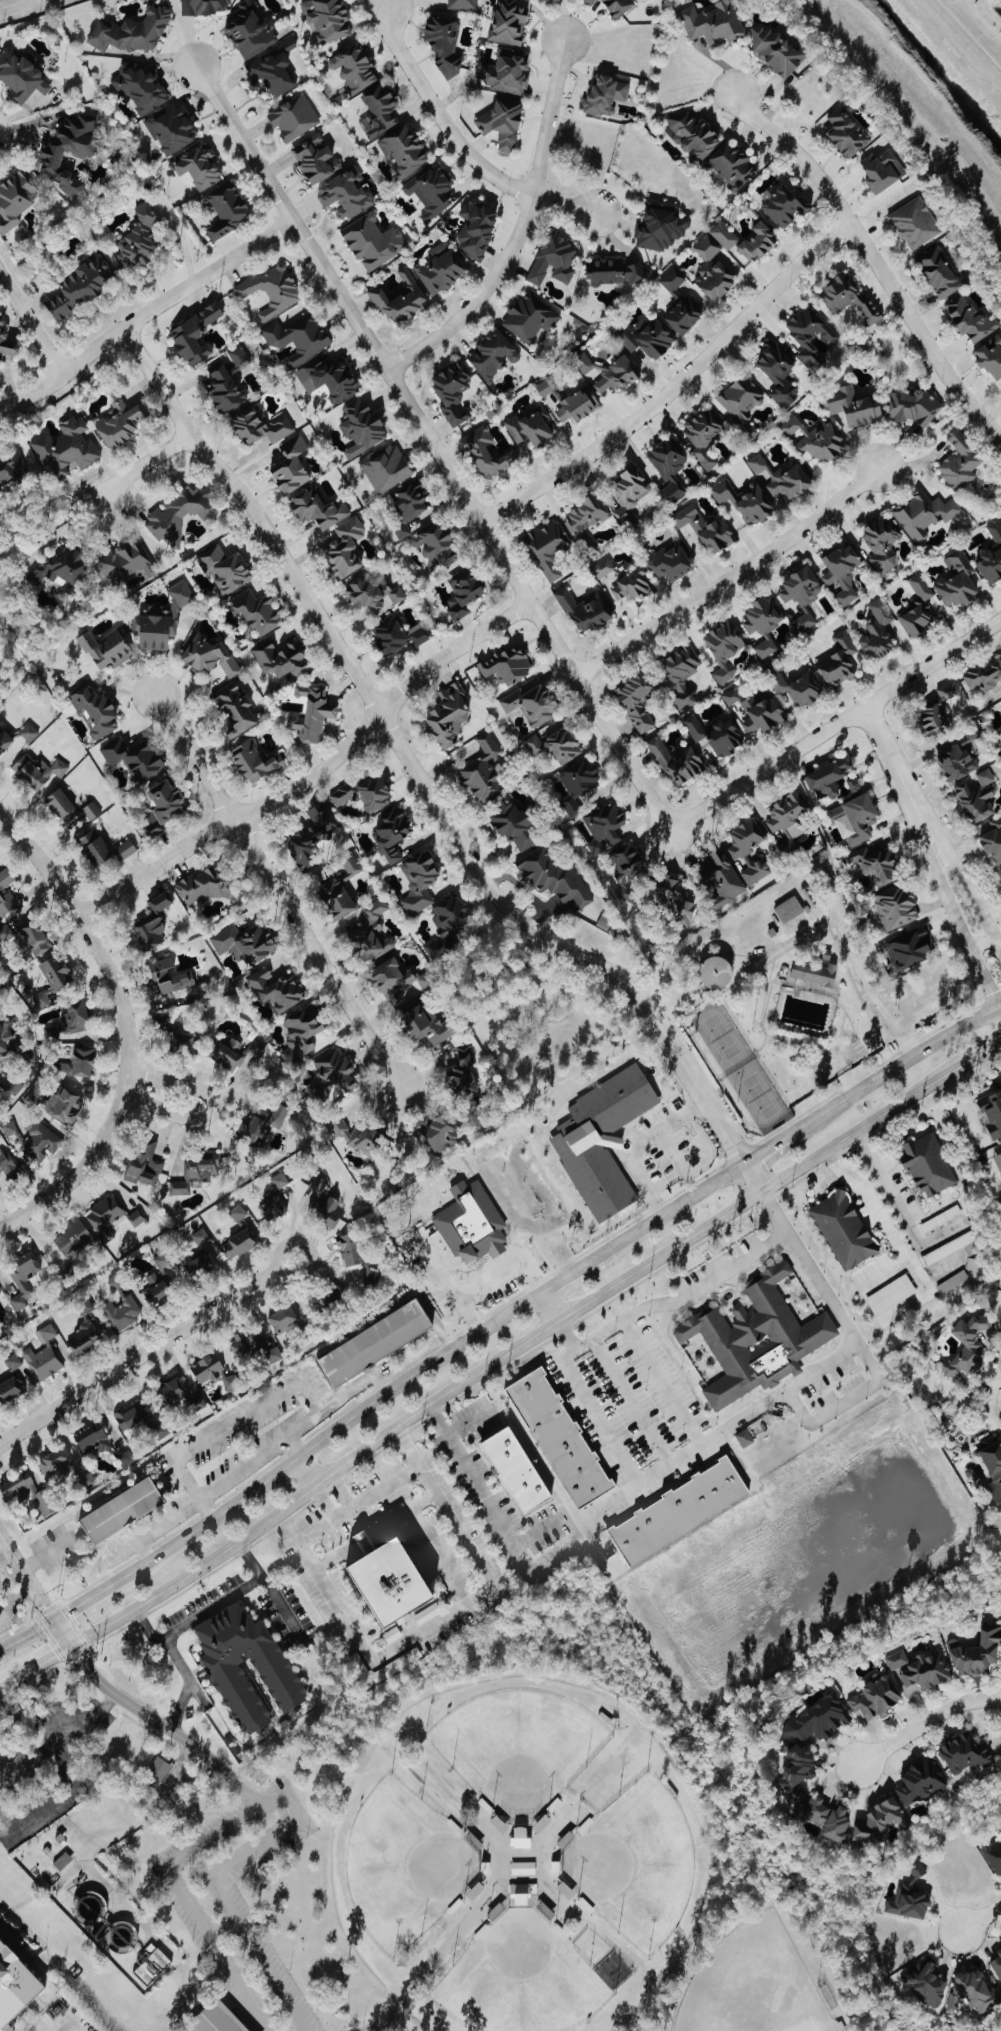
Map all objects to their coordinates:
building: (590, 2)
building: (462, 4)
road: (21, 5)
building: (205, 6)
building: (618, 7)
building: (326, 18)
building: (509, 22)
building: (713, 22)
building: (250, 30)
building: (132, 31)
road: (969, 35)
building: (444, 45)
building: (775, 50)
building: (353, 68)
building: (272, 69)
building: (506, 71)
building: (20, 74)
building: (140, 87)
building: (604, 96)
road: (900, 108)
building: (379, 110)
building: (293, 116)
building: (503, 119)
building: (170, 128)
building: (846, 132)
building: (691, 134)
building: (67, 149)
building: (403, 149)
road: (461, 150)
building: (315, 157)
building: (730, 164)
building: (198, 165)
building: (881, 169)
building: (430, 190)
building: (345, 192)
building: (15, 197)
building: (785, 204)
building: (225, 208)
building: (914, 222)
building: (476, 226)
building: (661, 226)
road: (517, 229)
building: (724, 235)
building: (137, 238)
building: (372, 240)
building: (754, 243)
building: (553, 259)
road: (873, 260)
building: (440, 267)
building: (712, 268)
building: (613, 270)
building: (939, 272)
building: (672, 279)
building: (79, 285)
building: (272, 289)
building: (399, 298)
building: (849, 298)
road: (146, 313)
building: (683, 313)
building: (530, 316)
building: (969, 318)
road: (31, 325)
building: (193, 333)
building: (811, 334)
building: (646, 336)
building: (296, 337)
building: (7, 341)
building: (492, 353)
building: (238, 356)
building: (990, 356)
building: (607, 371)
building: (777, 371)
building: (327, 378)
road: (674, 384)
building: (544, 387)
building: (223, 388)
building: (452, 390)
building: (739, 400)
building: (576, 404)
building: (851, 405)
building: (914, 407)
building: (120, 422)
building: (790, 425)
building: (261, 426)
building: (361, 426)
building: (532, 426)
building: (703, 436)
building: (822, 441)
road: (434, 445)
building: (65, 448)
building: (486, 452)
building: (959, 460)
road: (140, 464)
building: (290, 465)
building: (12, 467)
building: (384, 467)
building: (668, 467)
building: (780, 477)
building: (629, 493)
building: (743, 499)
building: (407, 508)
building: (318, 509)
building: (585, 513)
building: (924, 513)
building: (180, 514)
building: (705, 528)
building: (882, 543)
building: (435, 545)
building: (344, 547)
building: (548, 547)
building: (991, 555)
building: (125, 561)
building: (669, 561)
building: (58, 567)
building: (604, 567)
building: (223, 568)
building: (841, 569)
road: (731, 575)
building: (957, 579)
building: (629, 585)
building: (372, 592)
building: (462, 592)
building: (801, 595)
building: (918, 606)
building: (585, 609)
building: (257, 611)
building: (159, 619)
building: (763, 623)
building: (877, 630)
building: (396, 634)
building: (105, 649)
building: (723, 649)
building: (209, 656)
building: (280, 658)
building: (838, 660)
building: (506, 665)
building: (680, 673)
building: (984, 676)
building: (795, 686)
building: (731, 696)
building: (635, 700)
building: (530, 704)
building: (234, 708)
building: (937, 709)
building: (313, 712)
building: (761, 713)
building: (448, 714)
road: (835, 723)
building: (29, 732)
building: (715, 734)
building: (4, 740)
building: (555, 745)
building: (957, 755)
building: (132, 757)
building: (253, 760)
building: (676, 761)
building: (38, 770)
building: (482, 771)
road: (313, 772)
building: (985, 776)
building: (827, 778)
road: (420, 779)
road: (901, 779)
building: (577, 782)
building: (364, 793)
building: (975, 801)
building: (60, 805)
building: (161, 806)
building: (91, 810)
building: (786, 819)
building: (854, 819)
building: (604, 826)
building: (513, 827)
building: (392, 832)
building: (310, 838)
building: (992, 841)
building: (93, 847)
building: (124, 849)
building: (748, 849)
building: (627, 863)
building: (873, 863)
building: (351, 864)
building: (999, 871)
building: (553, 876)
building: (720, 876)
building: (418, 882)
building: (208, 886)
road: (277, 888)
building: (6, 893)
road: (973, 897)
building: (335, 899)
building: (672, 899)
building: (159, 901)
building: (895, 906)
building: (788, 909)
building: (445, 926)
building: (149, 931)
road: (961, 932)
building: (371, 933)
road: (90, 937)
building: (35, 938)
road: (981, 941)
building: (240, 944)
building: (909, 948)
building: (813, 973)
building: (169, 976)
building: (52, 978)
building: (397, 981)
building: (275, 989)
road: (862, 994)
road: (1000, 1008)
road: (1000, 1011)
building: (76, 1015)
building: (425, 1024)
road: (956, 1031)
building: (299, 1034)
park: (720, 1034)
building: (174, 1035)
building: (6, 1036)
building: (255, 1045)
building: (228, 1052)
road: (981, 1054)
building: (78, 1066)
building: (336, 1070)
building: (460, 1073)
building: (0, 1085)
building: (320, 1089)
road: (853, 1091)
park: (758, 1094)
building: (32, 1098)
building: (64, 1104)
road: (210, 1108)
building: (992, 1114)
building: (262, 1123)
building: (9, 1129)
building: (436, 1133)
building: (356, 1134)
building: (602, 1140)
building: (39, 1142)
road: (636, 1142)
road: (770, 1144)
building: (998, 1160)
building: (5, 1162)
building: (144, 1163)
building: (927, 1163)
road: (79, 1170)
building: (195, 1173)
building: (279, 1180)
building: (318, 1182)
road: (887, 1186)
road: (869, 1201)
road: (672, 1207)
building: (271, 1208)
building: (325, 1210)
building: (238, 1213)
building: (105, 1215)
building: (137, 1217)
building: (941, 1219)
building: (471, 1223)
building: (843, 1230)
building: (201, 1236)
building: (73, 1239)
building: (239, 1243)
building: (954, 1247)
building: (349, 1249)
building: (161, 1261)
building: (201, 1265)
building: (371, 1272)
road: (444, 1272)
road: (570, 1273)
building: (23, 1278)
road: (493, 1281)
building: (952, 1282)
building: (154, 1288)
building: (0, 1294)
building: (890, 1294)
road: (677, 1300)
building: (331, 1301)
building: (123, 1312)
building: (282, 1319)
building: (83, 1331)
building: (756, 1339)
building: (372, 1343)
building: (967, 1344)
building: (253, 1345)
road: (512, 1349)
road: (147, 1350)
building: (44, 1354)
building: (13, 1362)
building: (212, 1372)
road: (369, 1379)
building: (9, 1389)
building: (170, 1392)
road: (333, 1402)
building: (196, 1403)
road: (845, 1403)
road: (250, 1411)
building: (131, 1417)
road: (729, 1421)
road: (334, 1429)
building: (159, 1431)
building: (558, 1438)
building: (744, 1438)
building: (92, 1439)
building: (54, 1463)
road: (412, 1463)
road: (312, 1466)
road: (242, 1467)
building: (513, 1471)
building: (993, 1471)
building: (85, 1480)
building: (17, 1488)
road: (488, 1499)
building: (119, 1511)
building: (677, 1511)
road: (161, 1527)
road: (47, 1552)
road: (5, 1554)
road: (119, 1579)
building: (384, 1584)
road: (34, 1591)
road: (6, 1592)
road: (16, 1599)
road: (80, 1603)
road: (280, 1606)
road: (212, 1607)
building: (426, 1614)
road: (416, 1632)
road: (26, 1634)
building: (975, 1653)
road: (35, 1666)
building: (918, 1670)
building: (224, 1671)
road: (188, 1682)
building: (874, 1699)
road: (146, 1715)
road: (56, 1720)
road: (925, 1720)
park: (518, 1748)
building: (962, 1755)
building: (18, 1768)
building: (158, 1769)
building: (919, 1782)
road: (243, 1790)
road: (66, 1792)
road: (273, 1797)
building: (826, 1817)
building: (877, 1822)
building: (519, 1836)
building: (993, 1854)
building: (62, 1860)
park: (476, 1860)
park: (635, 1863)
park: (403, 1865)
building: (519, 1896)
building: (909, 1897)
parking lot: (239, 1899)
road: (981, 1920)
parking lot: (17, 1937)
road: (14, 1938)
building: (152, 1963)
building: (996, 1963)
park: (520, 1979)
building: (14, 1983)
building: (924, 1984)
park: (753, 1985)
building: (973, 1991)
road: (65, 2015)
building: (215, 2018)
parking lot: (64, 2021)

